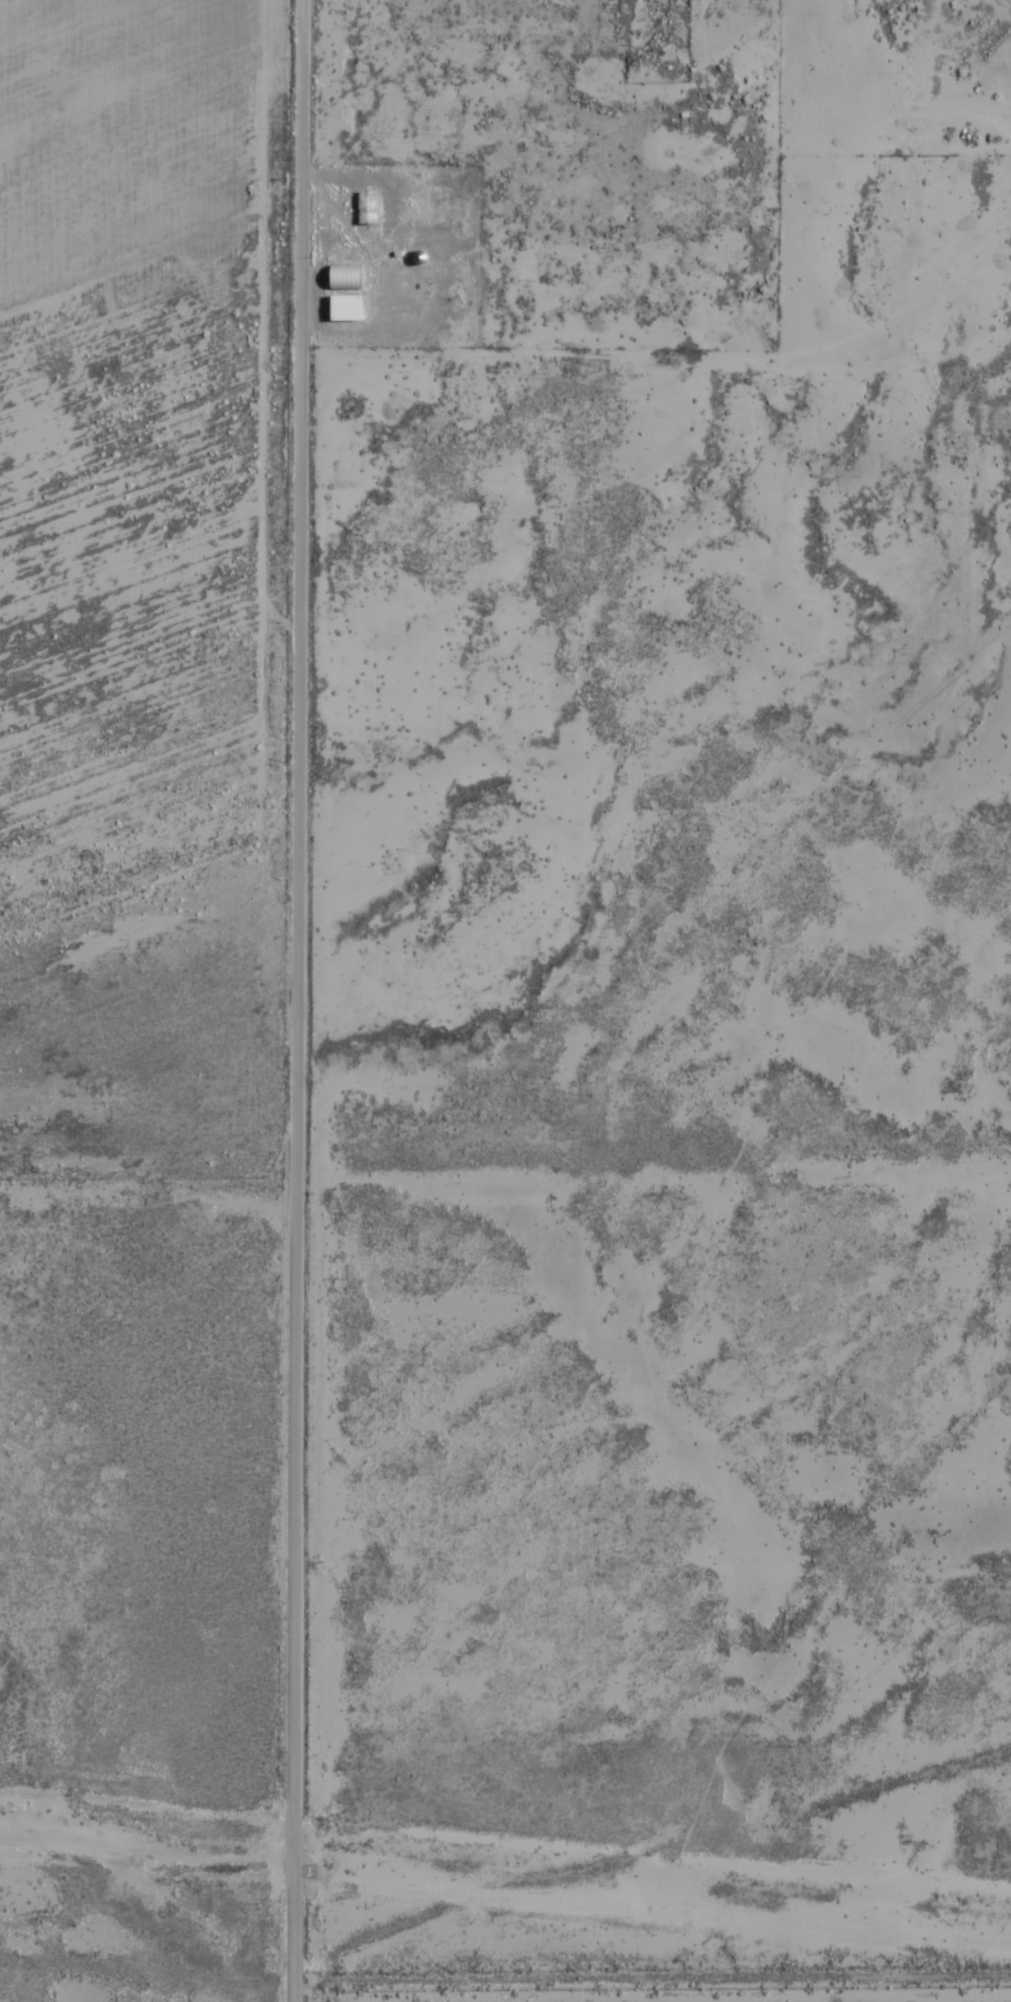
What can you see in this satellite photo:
road: (281, 1000)
road: (136, 1931)

